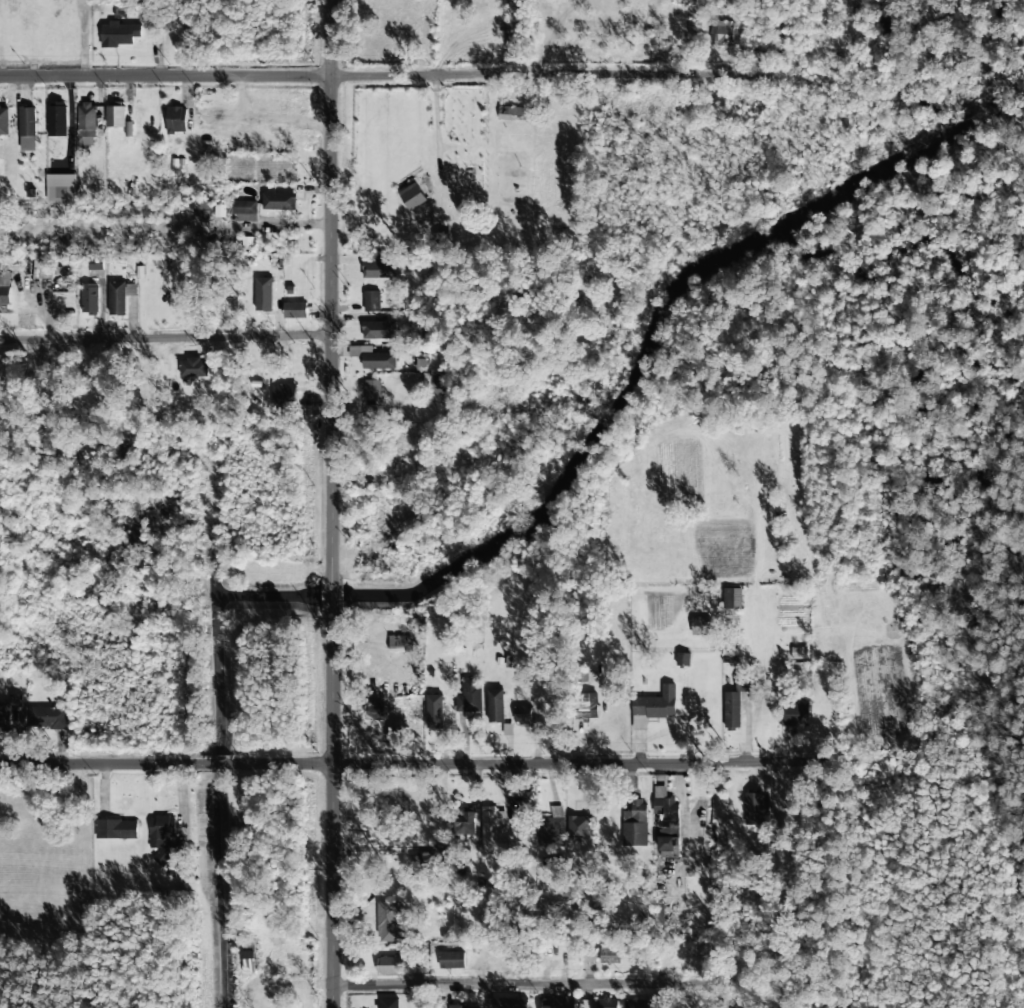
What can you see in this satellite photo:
building: (722, 33)
building: (119, 34)
road: (330, 40)
road: (497, 77)
road: (165, 80)
building: (514, 112)
building: (115, 114)
building: (57, 118)
building: (176, 119)
building: (87, 120)
building: (4, 121)
building: (27, 129)
building: (61, 188)
building: (412, 196)
building: (279, 201)
building: (241, 207)
building: (198, 212)
building: (378, 270)
building: (264, 294)
building: (5, 296)
building: (120, 296)
building: (88, 298)
building: (371, 301)
building: (294, 310)
road: (331, 326)
building: (379, 329)
road: (166, 339)
building: (379, 360)
building: (195, 367)
building: (434, 383)
building: (373, 390)
building: (284, 400)
road: (329, 594)
building: (732, 598)
building: (400, 644)
building: (798, 652)
building: (683, 659)
building: (469, 696)
building: (735, 701)
building: (494, 705)
building: (653, 707)
building: (8, 711)
building: (373, 711)
building: (434, 711)
building: (796, 714)
building: (522, 715)
building: (51, 716)
road: (216, 764)
road: (524, 764)
road: (99, 765)
building: (663, 800)
building: (755, 808)
road: (329, 812)
building: (463, 824)
building: (634, 824)
building: (553, 828)
building: (578, 828)
building: (116, 829)
building: (493, 831)
building: (161, 837)
building: (669, 840)
building: (429, 859)
building: (390, 922)
building: (248, 949)
building: (609, 953)
building: (451, 960)
building: (388, 965)
road: (517, 986)
building: (510, 1002)
building: (389, 1003)
building: (564, 1003)
building: (598, 1003)
building: (635, 1004)
building: (463, 1007)

